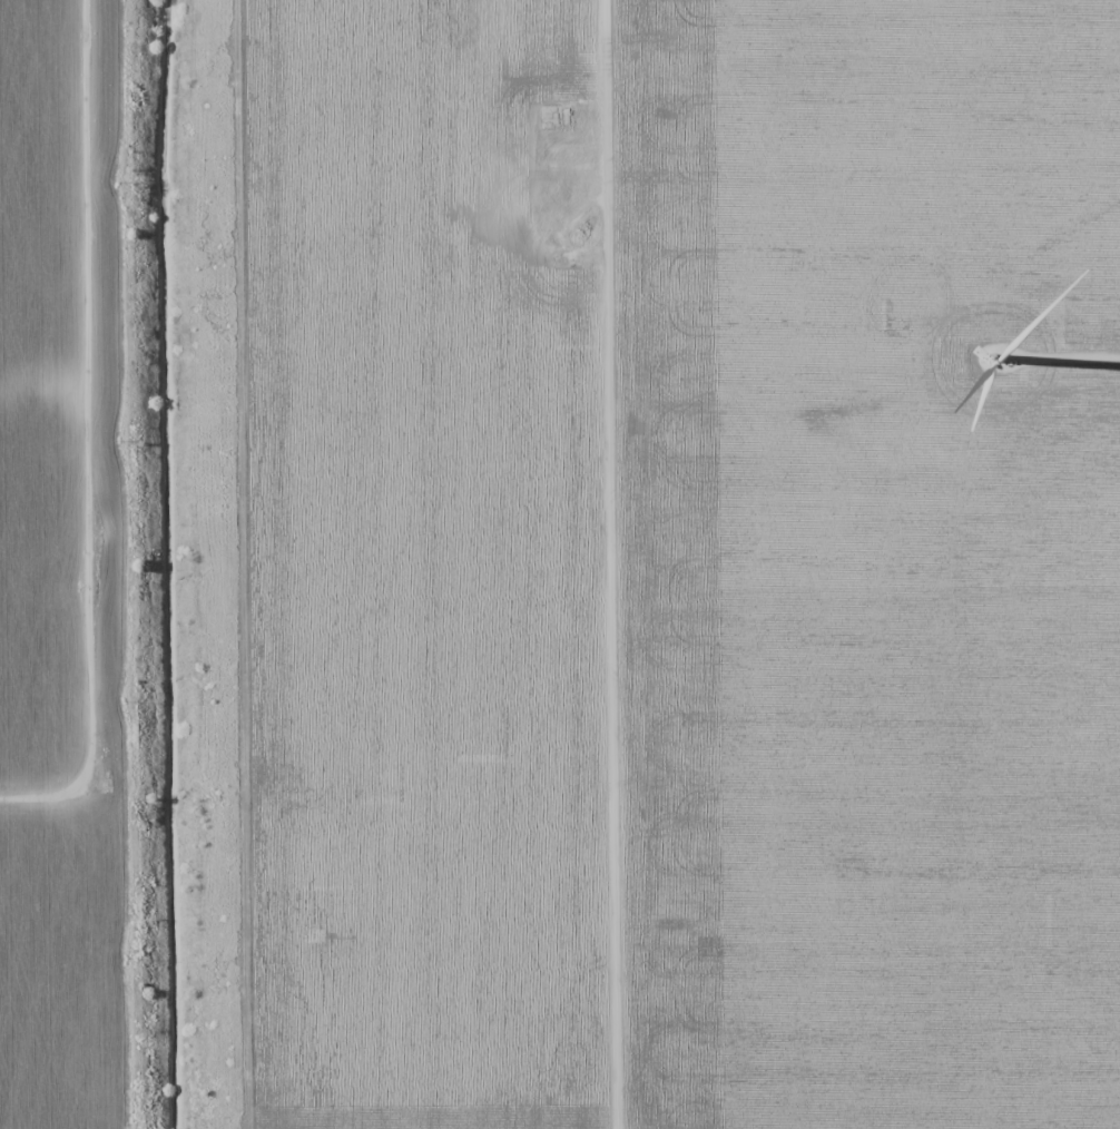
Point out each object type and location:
wind turbine: (996, 355)
road: (86, 377)
road: (601, 564)
road: (57, 795)

